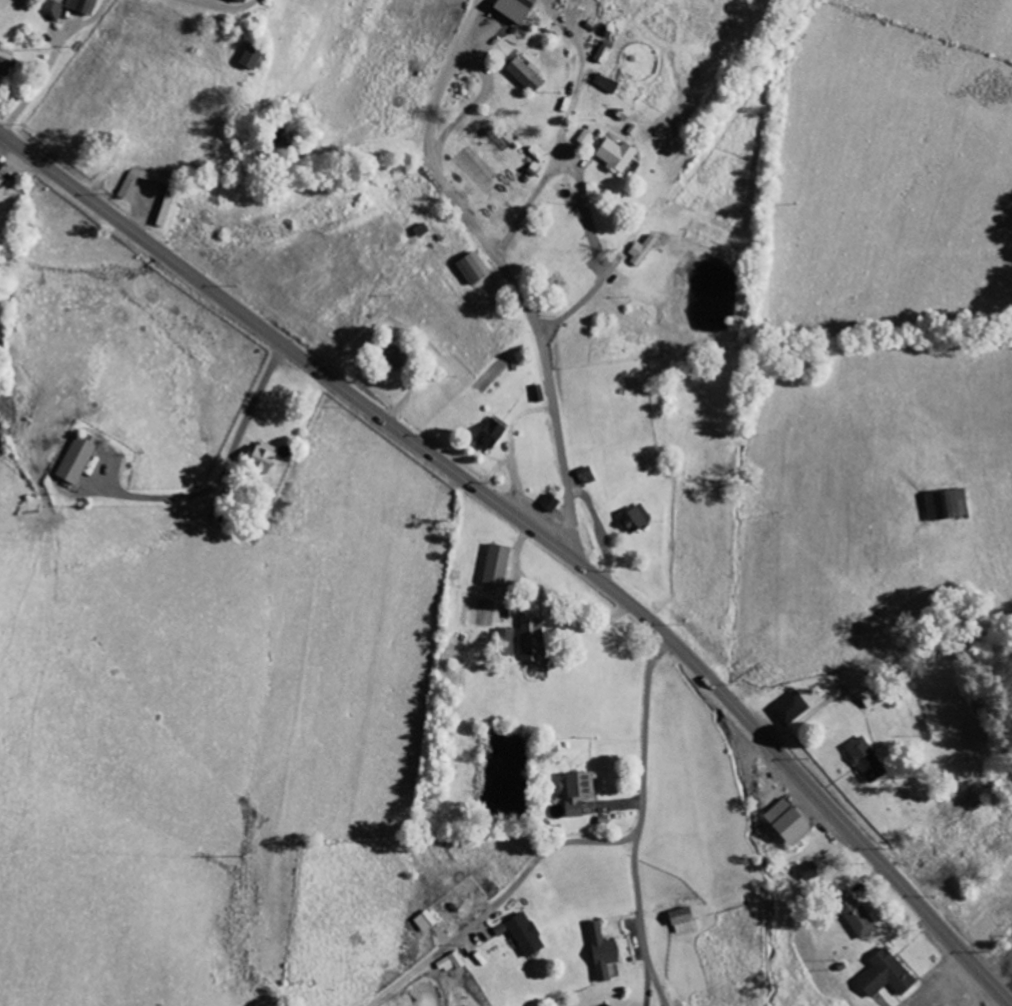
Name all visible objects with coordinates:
building: (61, 1)
building: (243, 1)
building: (84, 6)
building: (54, 9)
building: (517, 9)
building: (606, 51)
building: (254, 57)
building: (6, 66)
building: (527, 75)
building: (607, 84)
building: (587, 138)
building: (618, 155)
building: (2, 180)
building: (423, 230)
road: (134, 231)
building: (644, 250)
building: (475, 268)
road: (505, 273)
building: (397, 358)
building: (539, 394)
road: (698, 416)
building: (492, 435)
building: (265, 457)
building: (79, 458)
building: (588, 476)
building: (552, 503)
building: (949, 505)
building: (637, 520)
building: (499, 565)
road: (668, 636)
building: (534, 638)
building: (509, 643)
building: (875, 697)
building: (793, 709)
building: (868, 760)
building: (580, 792)
road: (641, 819)
building: (790, 823)
building: (811, 872)
road: (500, 903)
building: (685, 921)
building: (524, 934)
building: (605, 952)
building: (452, 964)
building: (888, 975)

